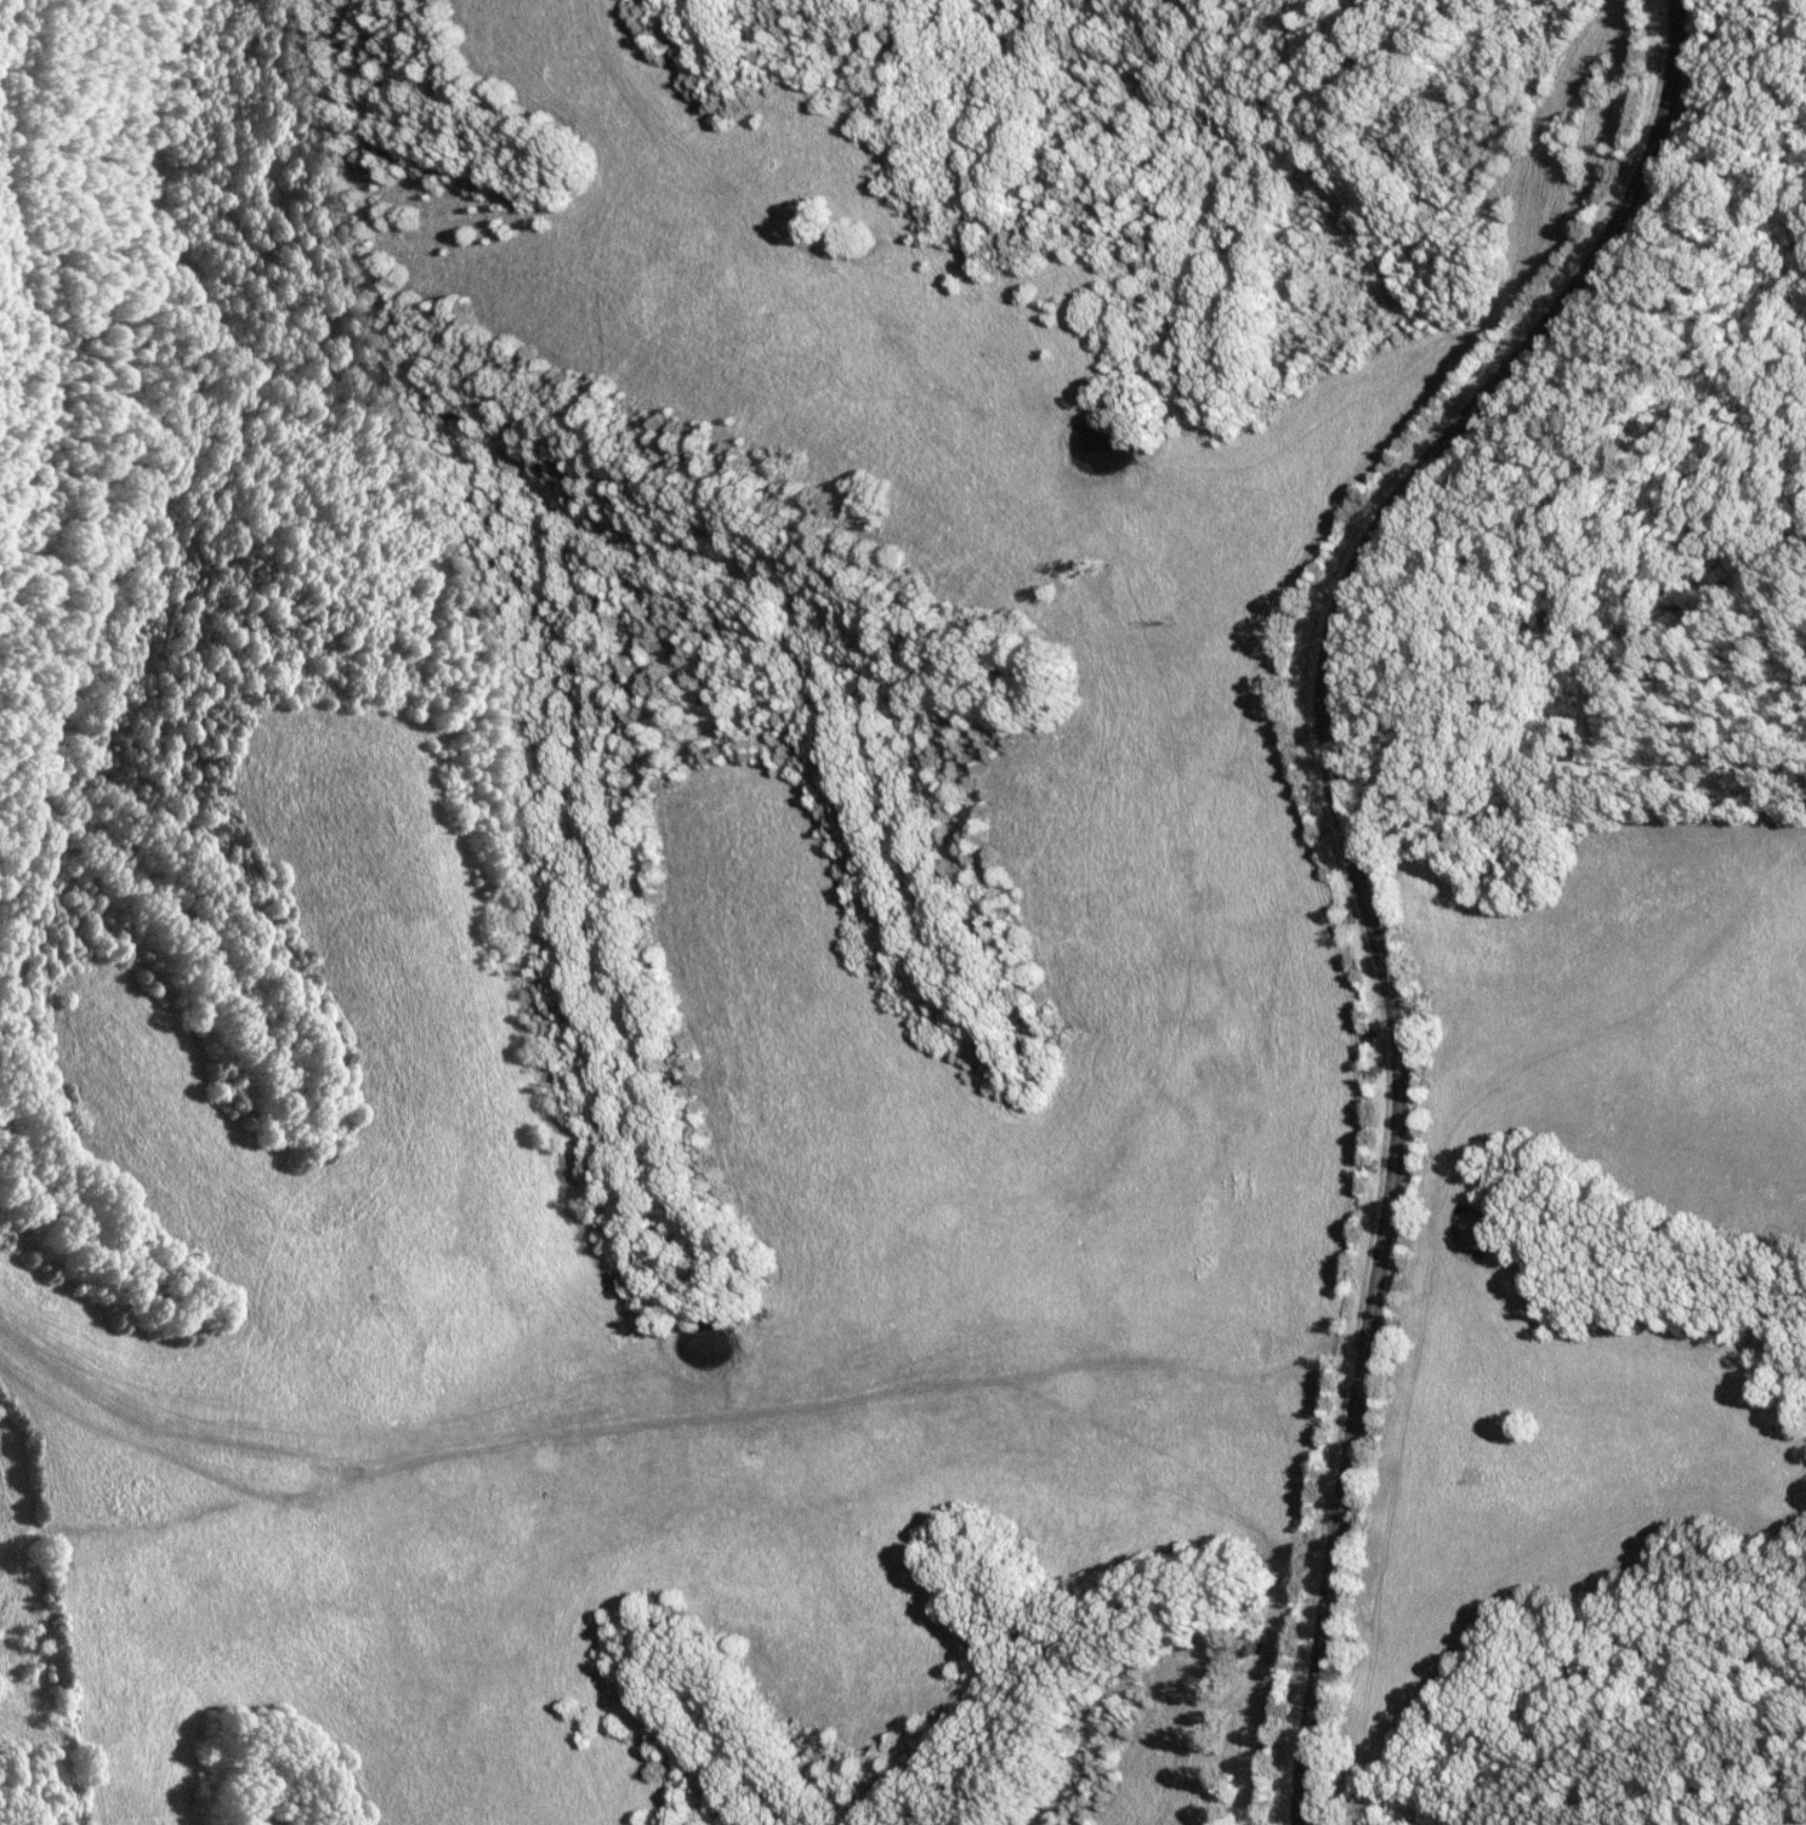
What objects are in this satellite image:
road: (1352, 863)

